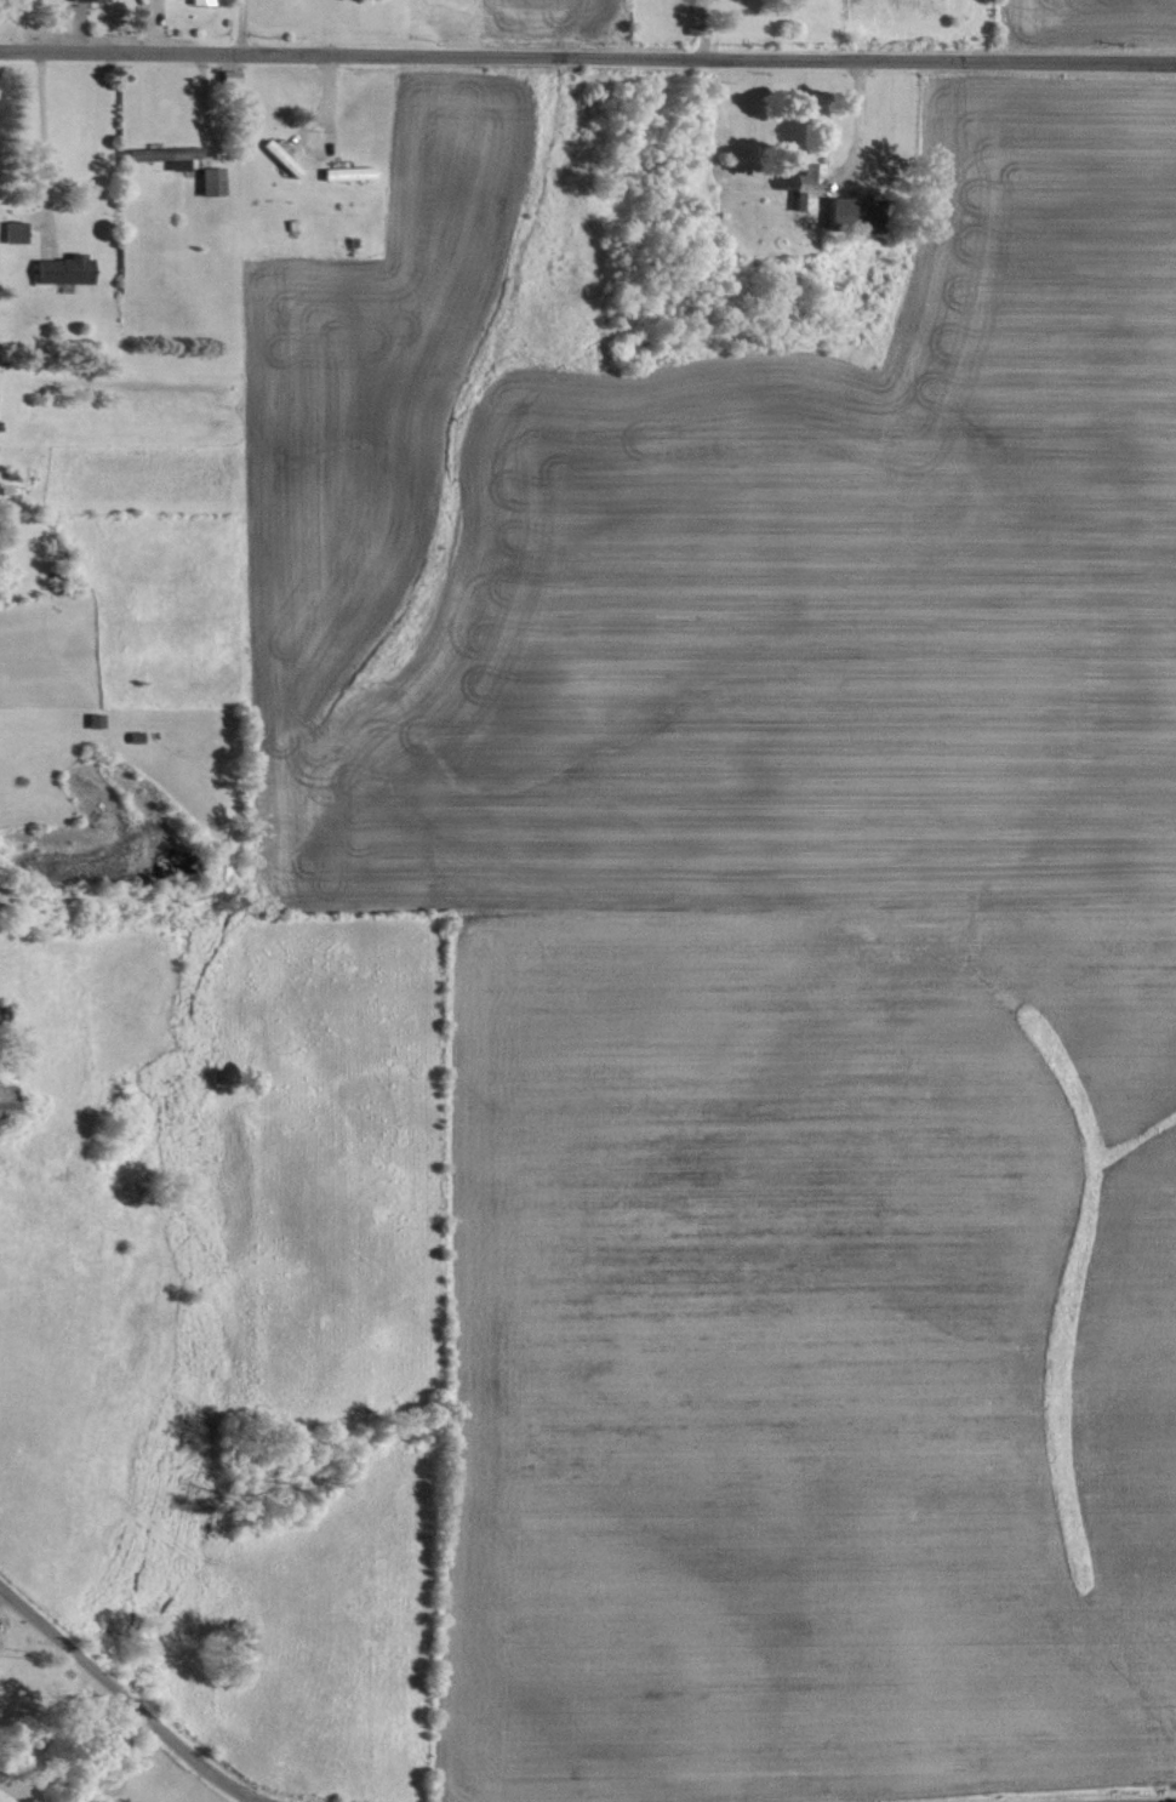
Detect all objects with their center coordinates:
building: (79, 0)
building: (195, 1)
road: (240, 27)
road: (701, 29)
road: (137, 51)
road: (725, 58)
building: (224, 75)
road: (325, 81)
road: (202, 97)
road: (855, 125)
road: (39, 150)
building: (158, 153)
building: (276, 155)
building: (206, 179)
building: (797, 184)
building: (844, 213)
building: (10, 230)
building: (58, 269)
building: (2, 1096)
road: (5, 1564)
road: (127, 1701)

